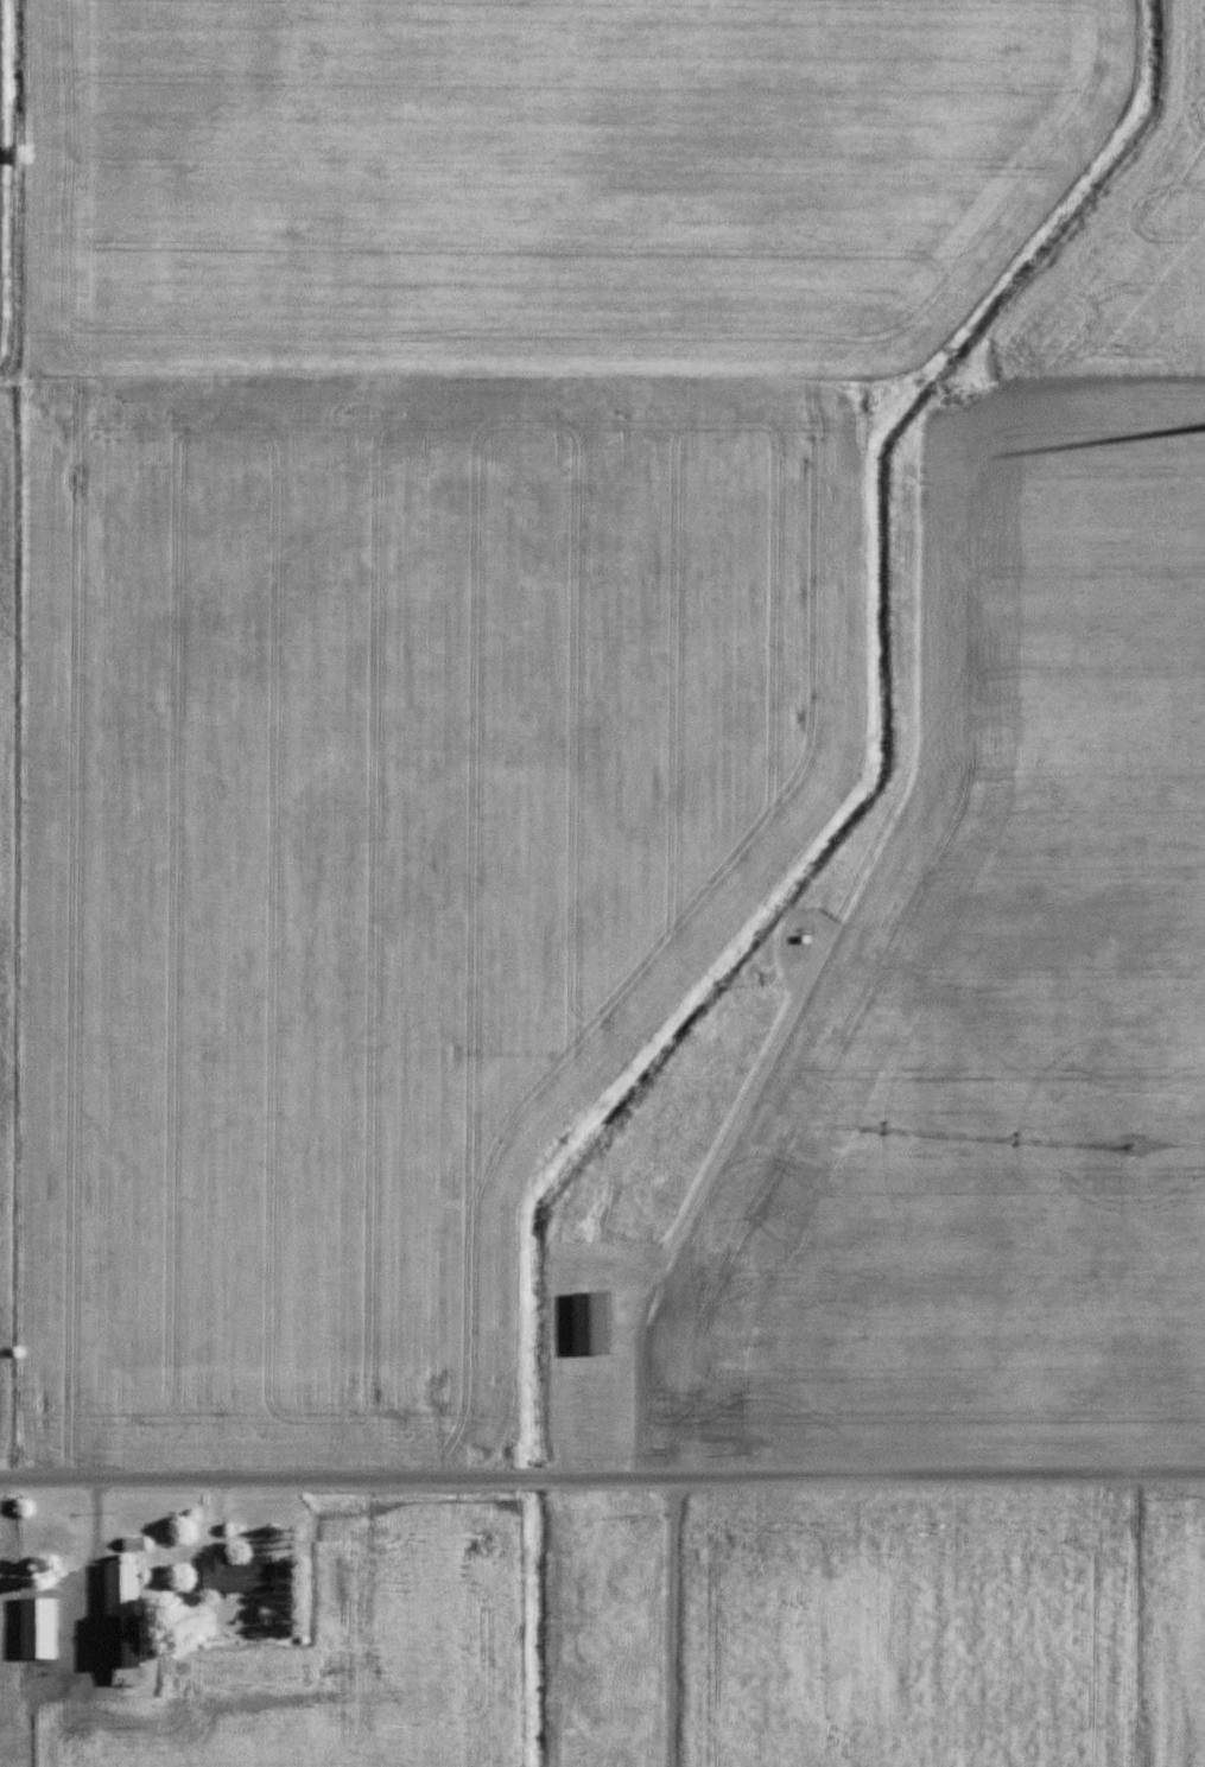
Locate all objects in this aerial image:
building: (589, 1324)
building: (693, 1371)
road: (602, 1481)
building: (234, 1575)
road: (667, 1623)
building: (122, 1625)
building: (36, 1628)

